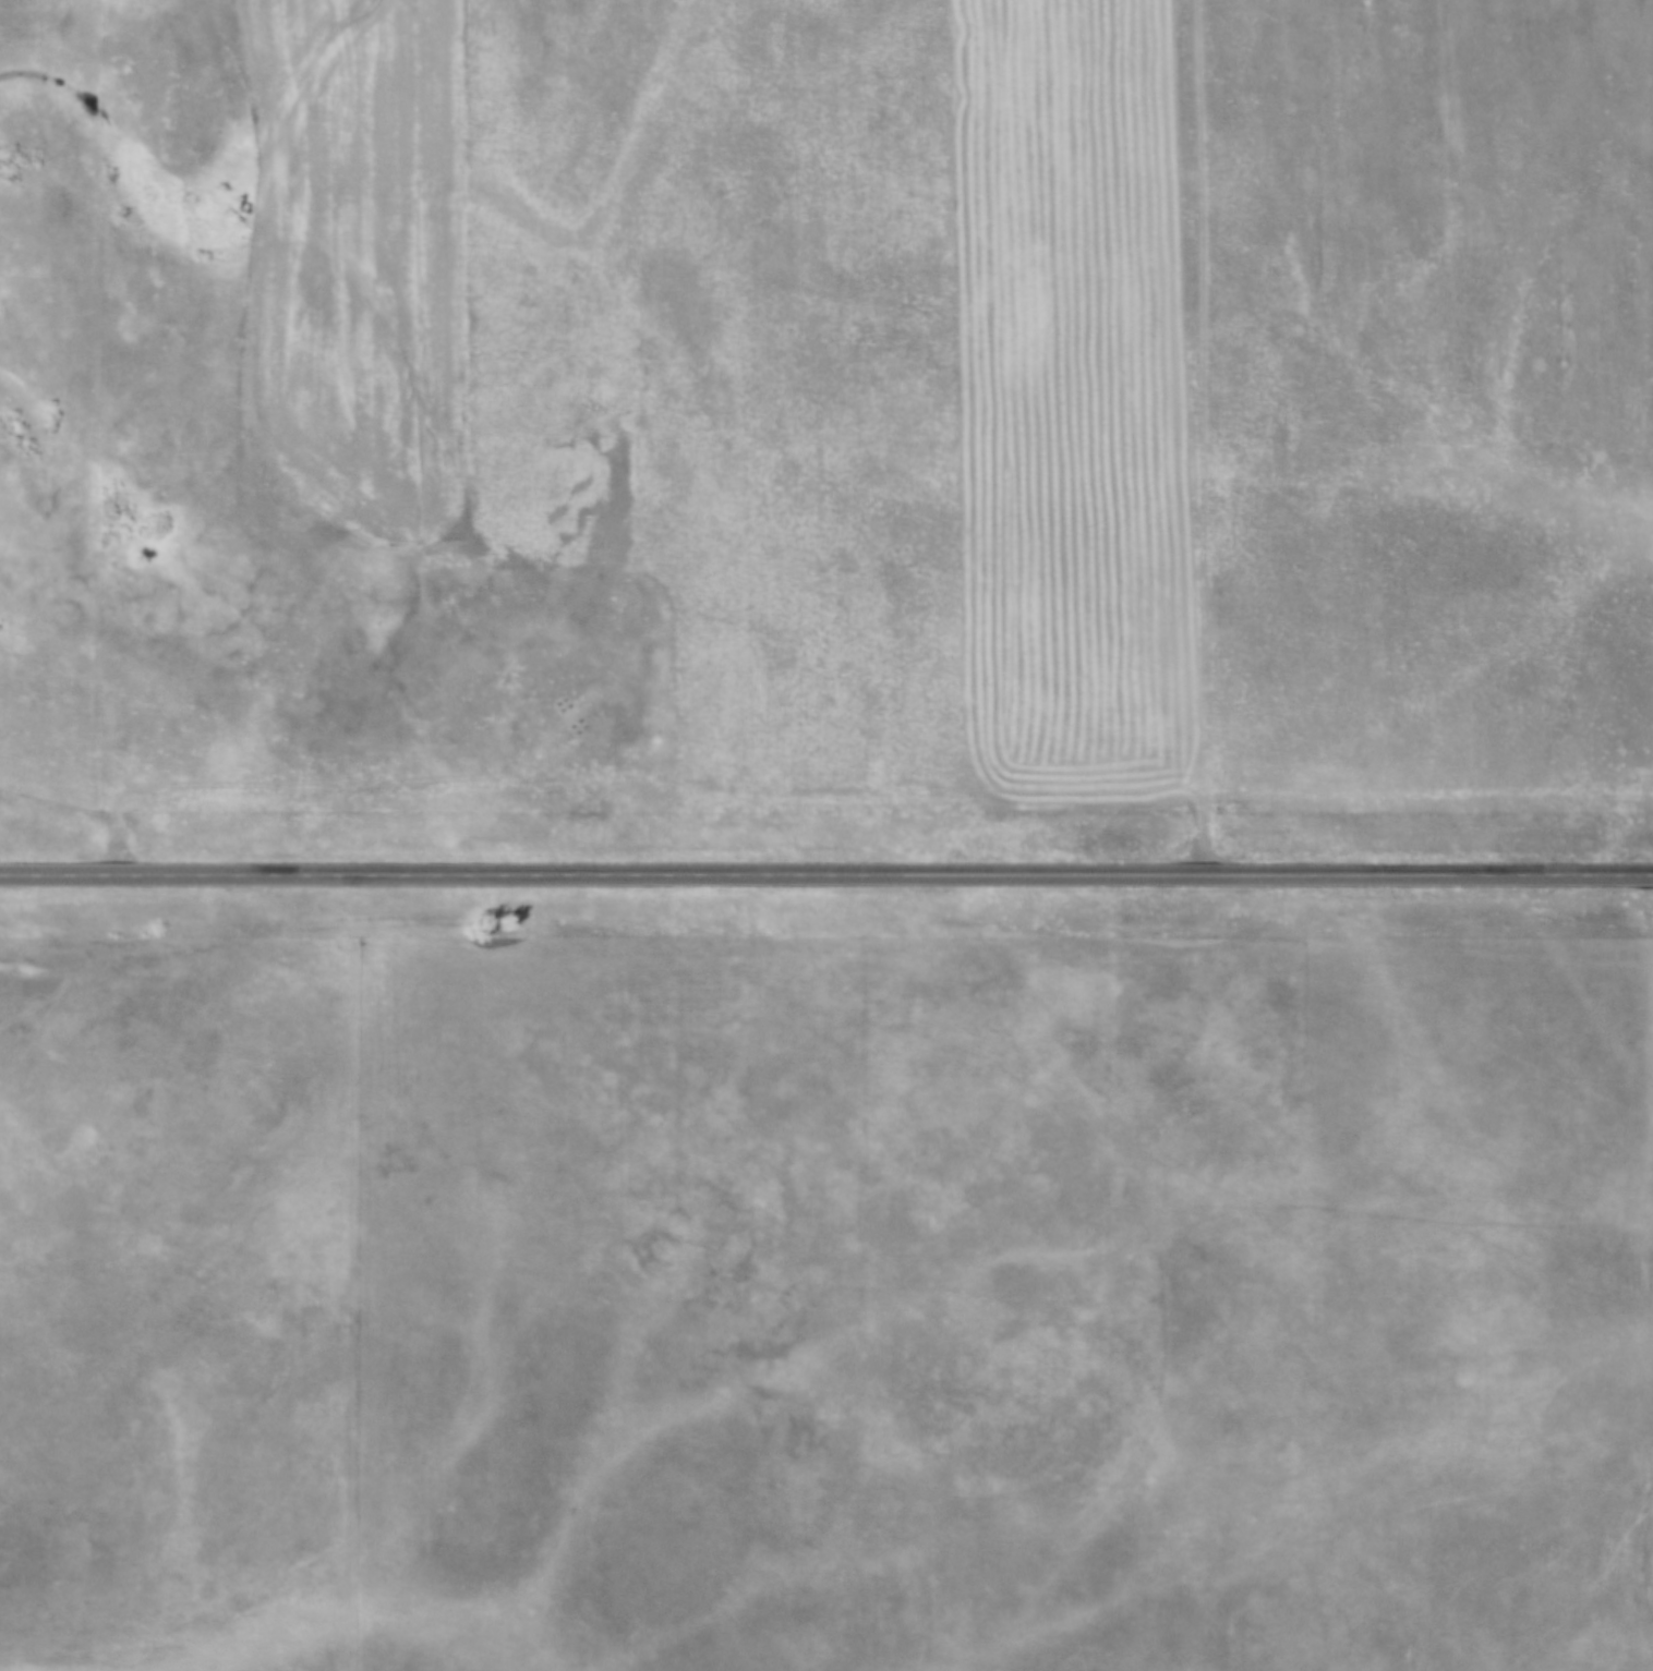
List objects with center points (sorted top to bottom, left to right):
road: (1204, 438)
road: (825, 880)
road: (1649, 1443)

